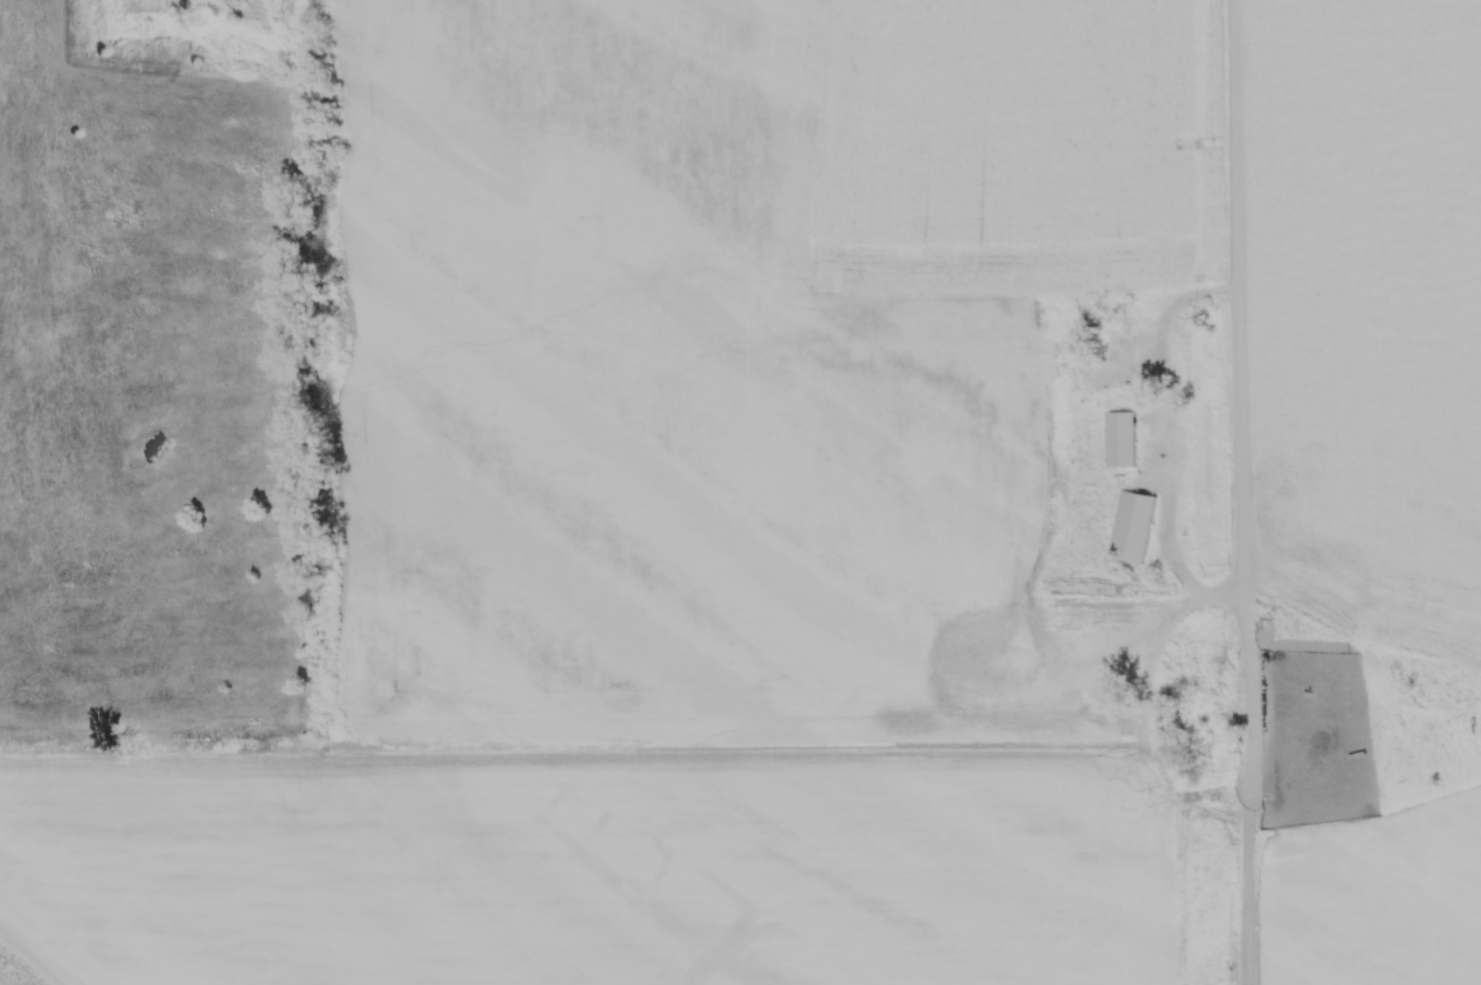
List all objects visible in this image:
road: (1242, 492)

